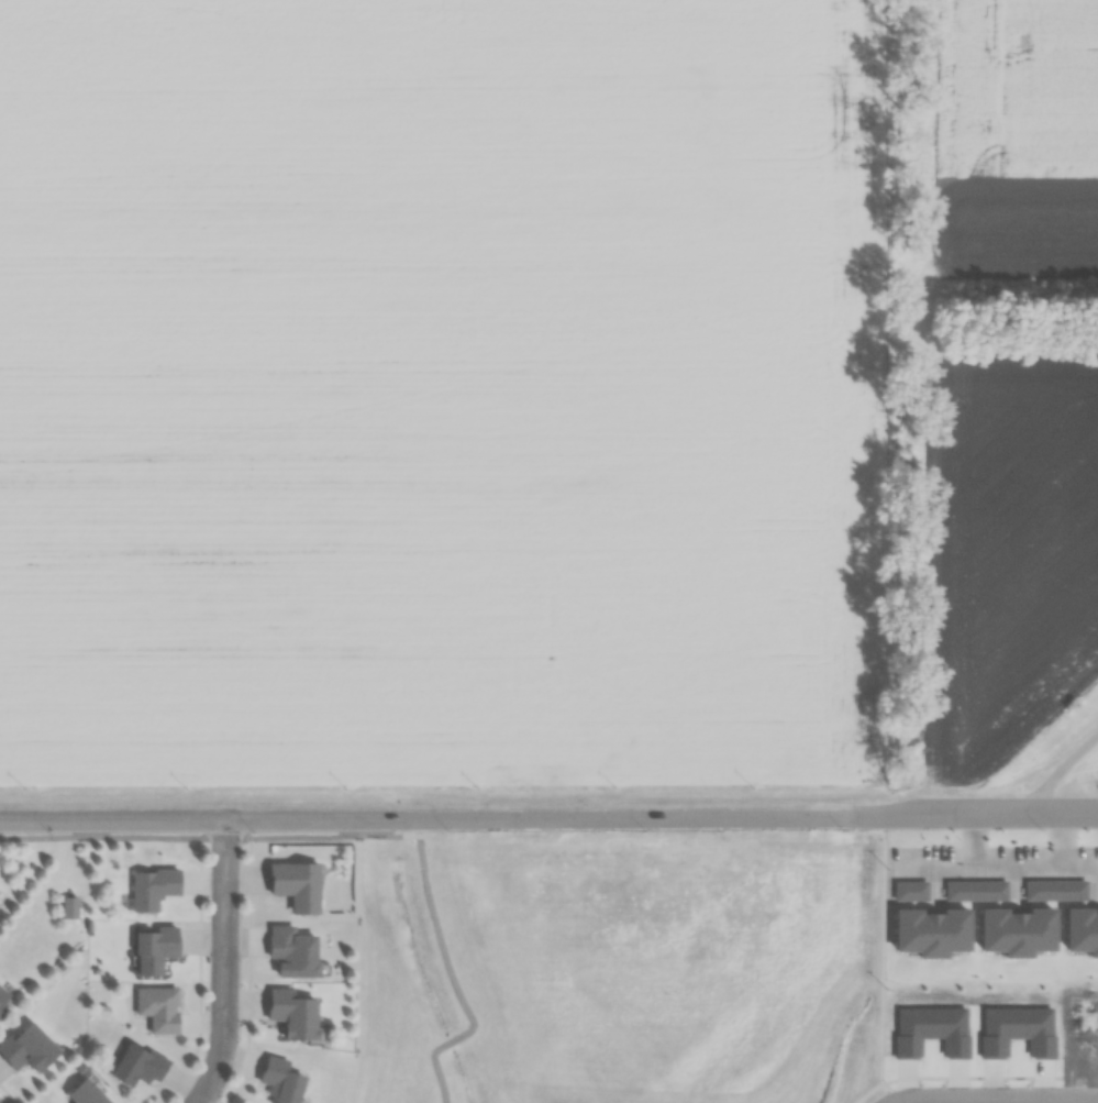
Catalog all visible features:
road: (1056, 770)
road: (983, 814)
road: (642, 818)
road: (208, 821)
road: (208, 838)
building: (296, 884)
building: (152, 886)
building: (67, 909)
building: (154, 947)
building: (292, 951)
road: (225, 966)
road: (450, 973)
building: (3, 996)
building: (158, 1007)
building: (293, 1012)
building: (26, 1046)
building: (137, 1063)
building: (280, 1080)
building: (85, 1093)

